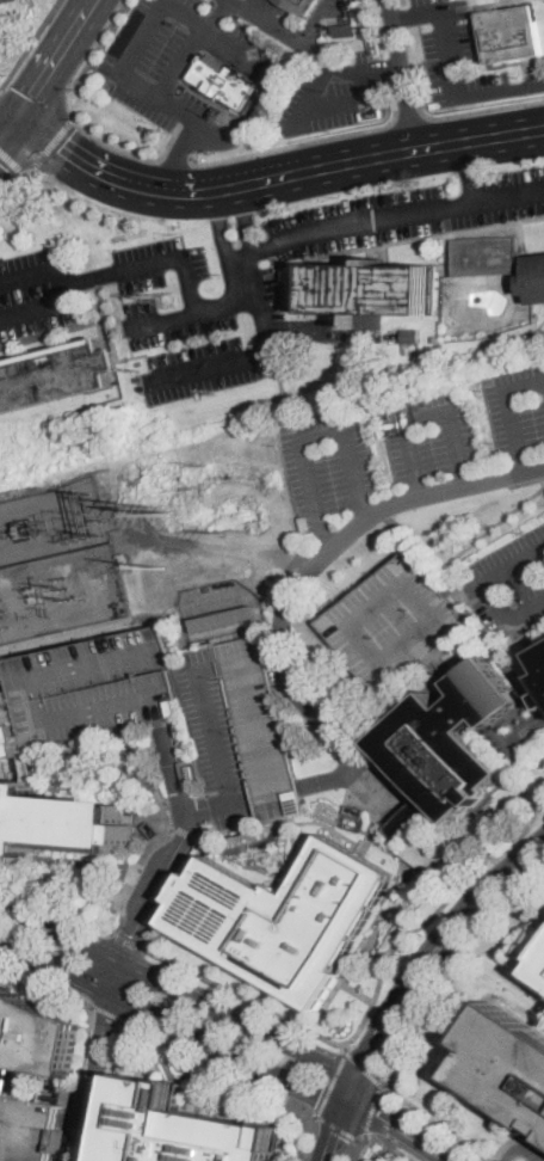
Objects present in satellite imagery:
building: (7, 1)
road: (488, 2)
building: (298, 5)
building: (347, 10)
road: (218, 16)
road: (320, 21)
building: (342, 29)
building: (4, 30)
building: (512, 33)
road: (144, 37)
road: (29, 45)
road: (313, 50)
parking lot: (462, 59)
road: (183, 61)
road: (54, 62)
parking lot: (177, 66)
road: (453, 69)
road: (402, 75)
building: (221, 80)
parking lot: (333, 91)
road: (311, 94)
road: (348, 100)
road: (37, 104)
road: (253, 106)
road: (486, 109)
road: (410, 117)
road: (75, 118)
road: (7, 119)
traffic signals: (16, 124)
road: (7, 134)
road: (51, 141)
road: (291, 146)
road: (177, 154)
road: (174, 159)
road: (13, 162)
road: (468, 172)
road: (273, 180)
road: (376, 184)
road: (16, 185)
parking lot: (500, 197)
road: (113, 208)
road: (389, 215)
parking lot: (359, 221)
road: (245, 222)
road: (221, 227)
building: (486, 256)
road: (155, 264)
road: (38, 272)
building: (534, 279)
building: (375, 290)
power tower: (168, 299)
road: (42, 306)
parking lot: (156, 311)
road: (191, 311)
building: (410, 336)
road: (255, 354)
power tower: (136, 371)
building: (55, 375)
road: (282, 386)
parking lot: (515, 406)
road: (509, 411)
road: (422, 412)
parking lot: (429, 432)
road: (309, 434)
parking lot: (326, 461)
power tower: (206, 463)
road: (539, 479)
power tower: (144, 504)
power tower: (93, 514)
power tower: (168, 514)
road: (397, 527)
road: (488, 530)
power tower: (225, 534)
road: (204, 543)
power substation: (57, 561)
road: (296, 563)
power tower: (163, 566)
road: (500, 575)
parking lot: (512, 582)
road: (508, 613)
building: (225, 618)
building: (389, 621)
parking lot: (389, 621)
road: (482, 633)
building: (542, 657)
road: (280, 661)
building: (542, 678)
building: (89, 689)
parking lot: (89, 689)
road: (336, 695)
building: (543, 698)
building: (256, 726)
parking lot: (256, 726)
parking lot: (211, 736)
road: (8, 747)
building: (446, 748)
road: (116, 763)
road: (169, 766)
road: (376, 784)
building: (57, 818)
road: (478, 901)
road: (57, 905)
building: (283, 919)
road: (477, 936)
road: (128, 941)
building: (543, 957)
building: (540, 970)
road: (48, 981)
road: (116, 981)
road: (183, 990)
road: (358, 993)
road: (375, 999)
road: (107, 1012)
road: (174, 1024)
road: (443, 1030)
road: (387, 1033)
building: (36, 1034)
road: (346, 1048)
road: (403, 1049)
road: (202, 1061)
building: (506, 1065)
road: (364, 1068)
road: (332, 1082)
road: (385, 1085)
road: (298, 1110)
road: (371, 1110)
road: (437, 1123)
road: (335, 1125)
road: (339, 1126)
building: (184, 1128)
road: (400, 1128)
building: (27, 1129)
parking lot: (27, 1129)
road: (307, 1136)
road: (384, 1142)
road: (68, 1143)
road: (354, 1150)
road: (517, 1150)

